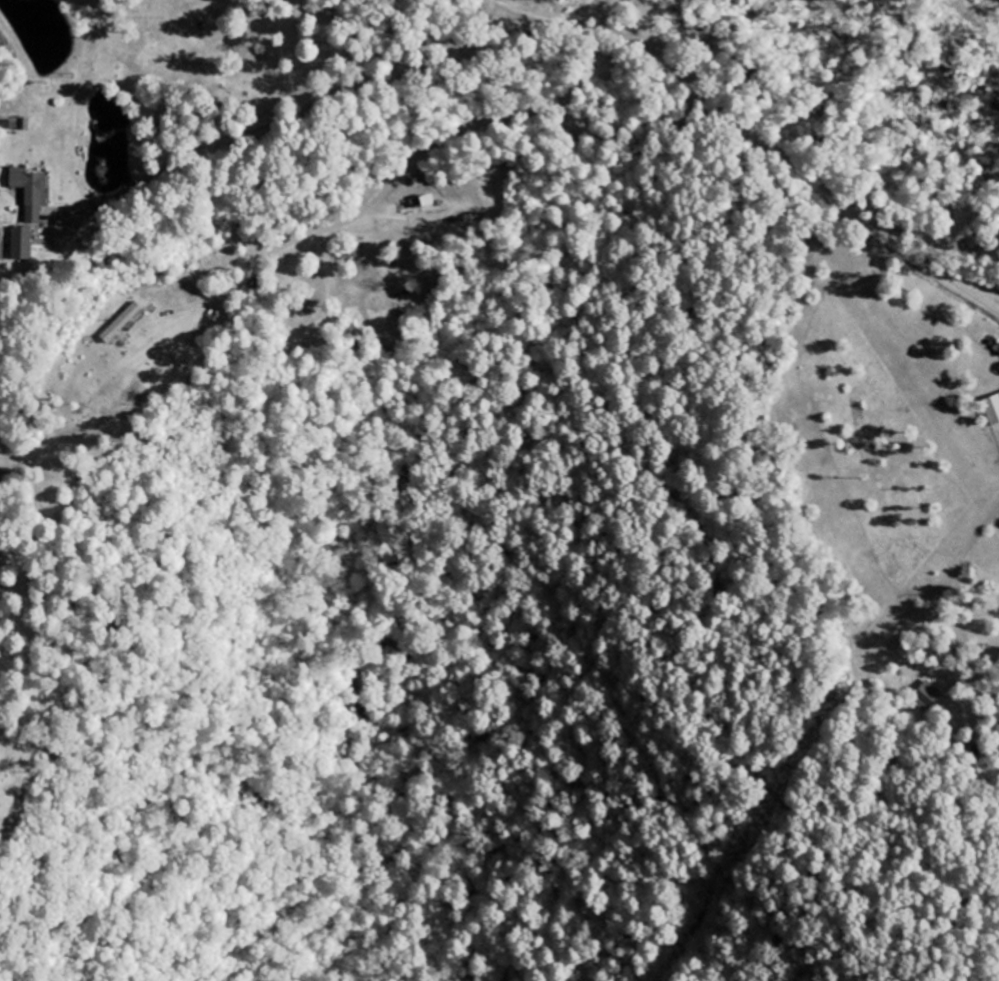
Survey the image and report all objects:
road: (854, 99)
road: (742, 120)
building: (32, 193)
building: (427, 202)
building: (22, 245)
building: (122, 324)
building: (993, 411)
building: (927, 696)

